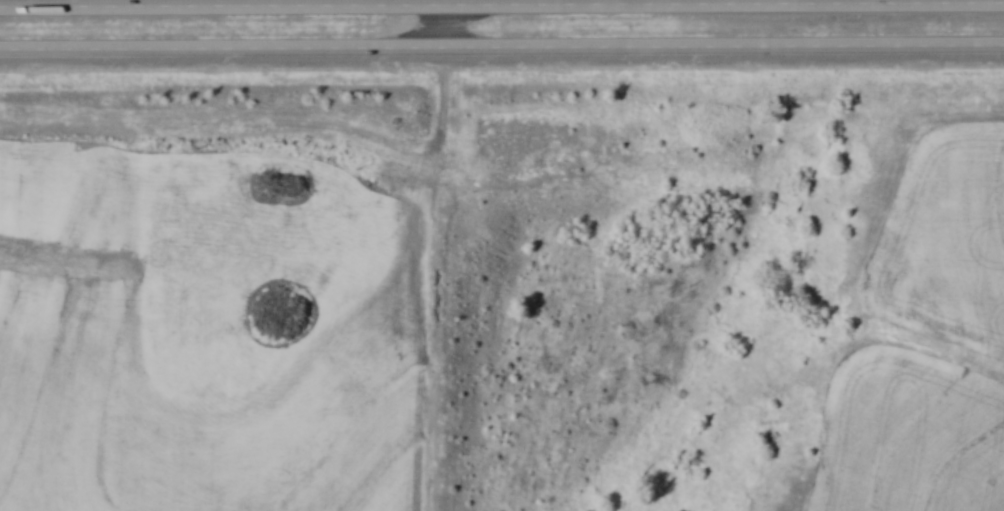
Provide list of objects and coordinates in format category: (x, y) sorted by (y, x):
road: (502, 11)
road: (502, 54)

